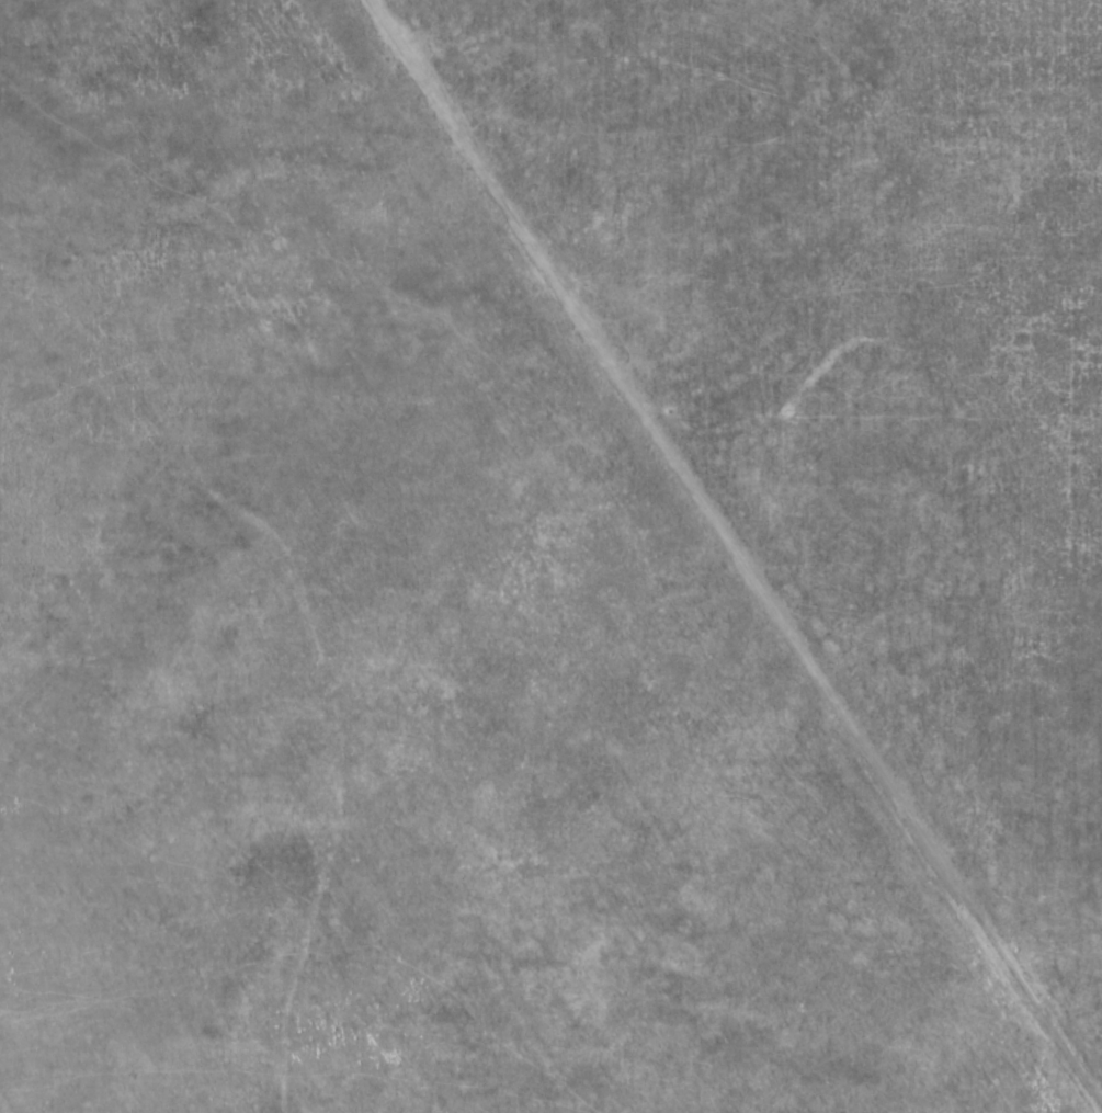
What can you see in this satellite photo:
road: (740, 540)

